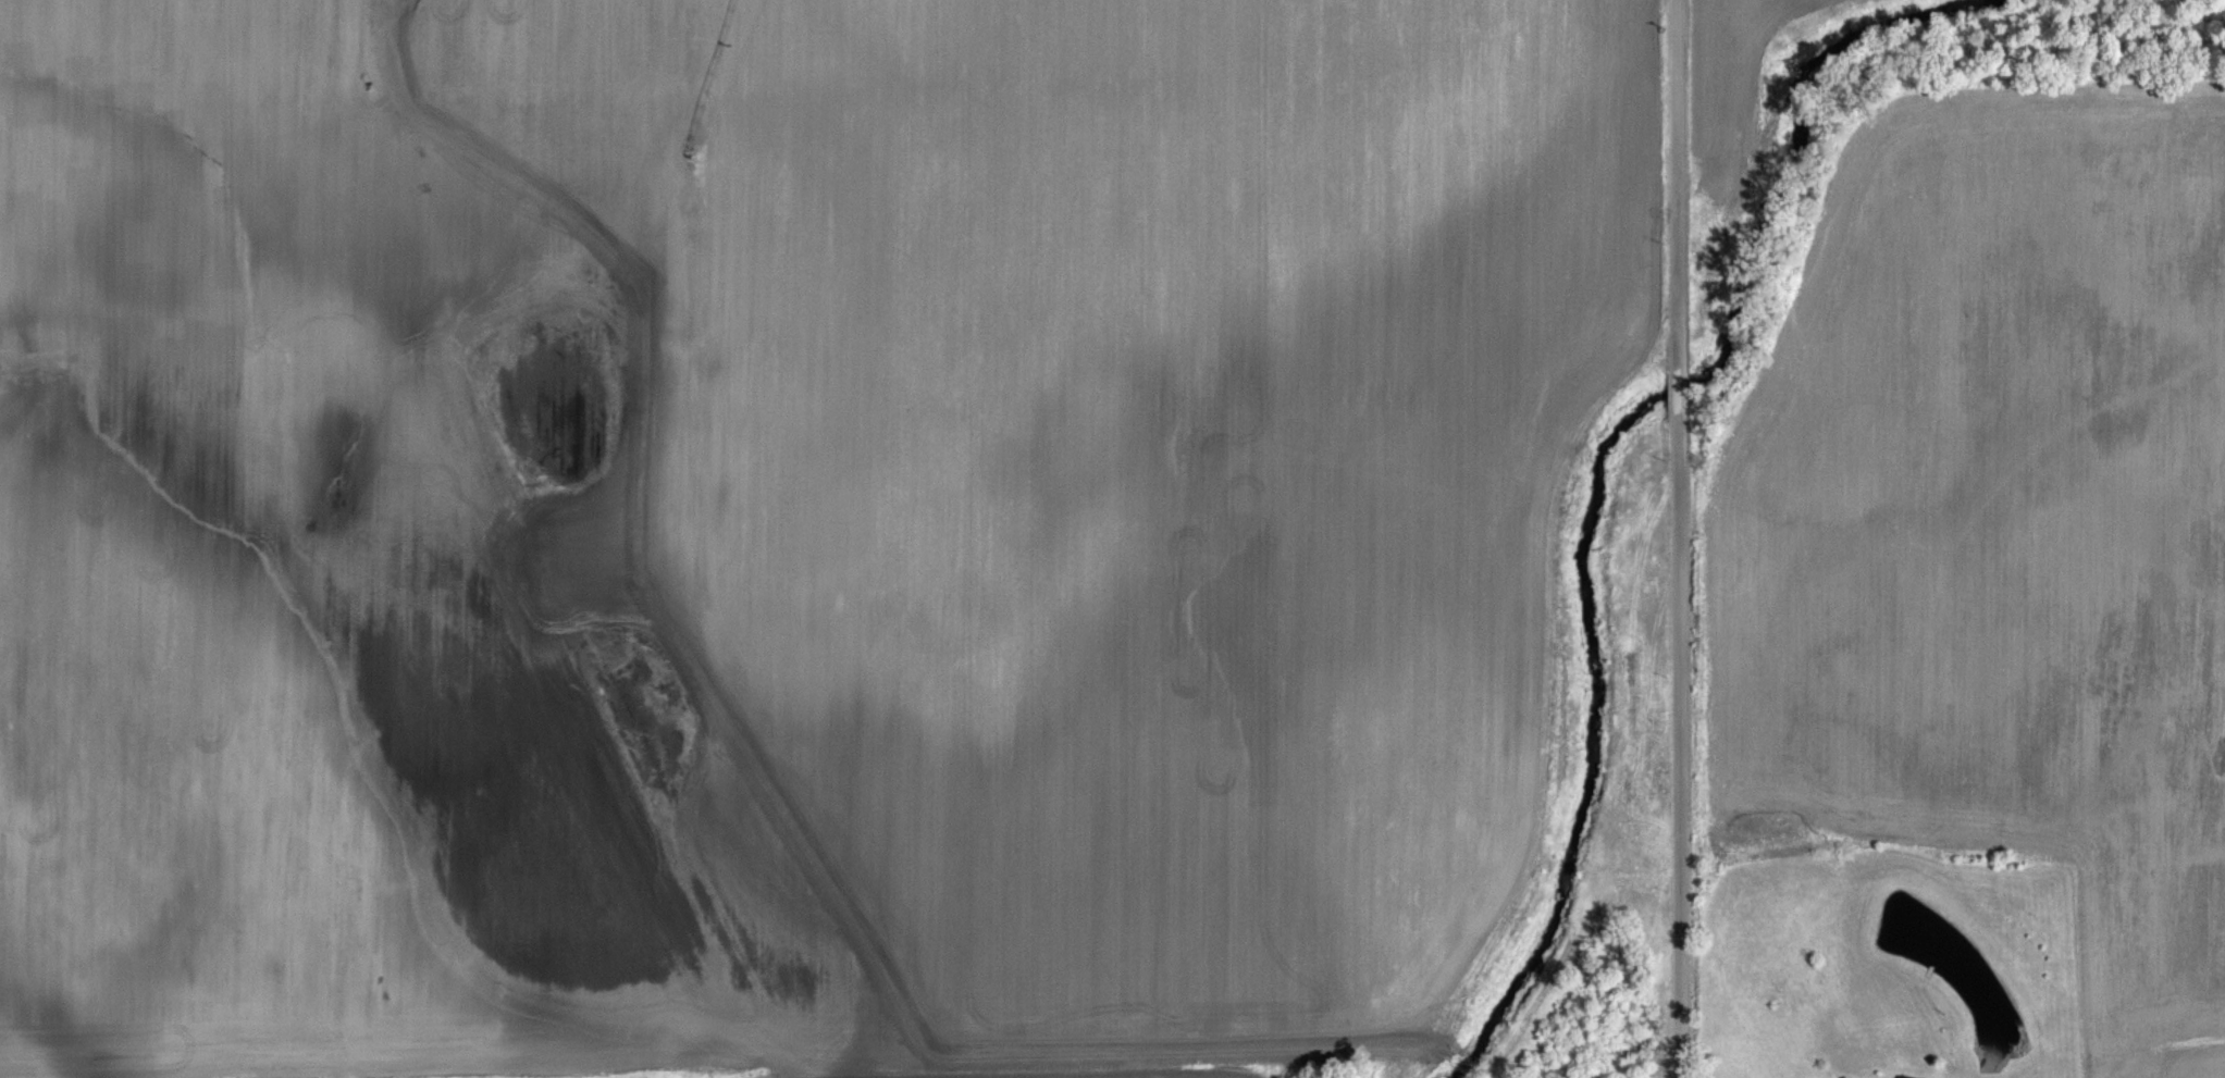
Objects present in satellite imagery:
road: (1677, 177)
road: (1678, 384)
road: (1680, 745)
building: (1898, 1077)

